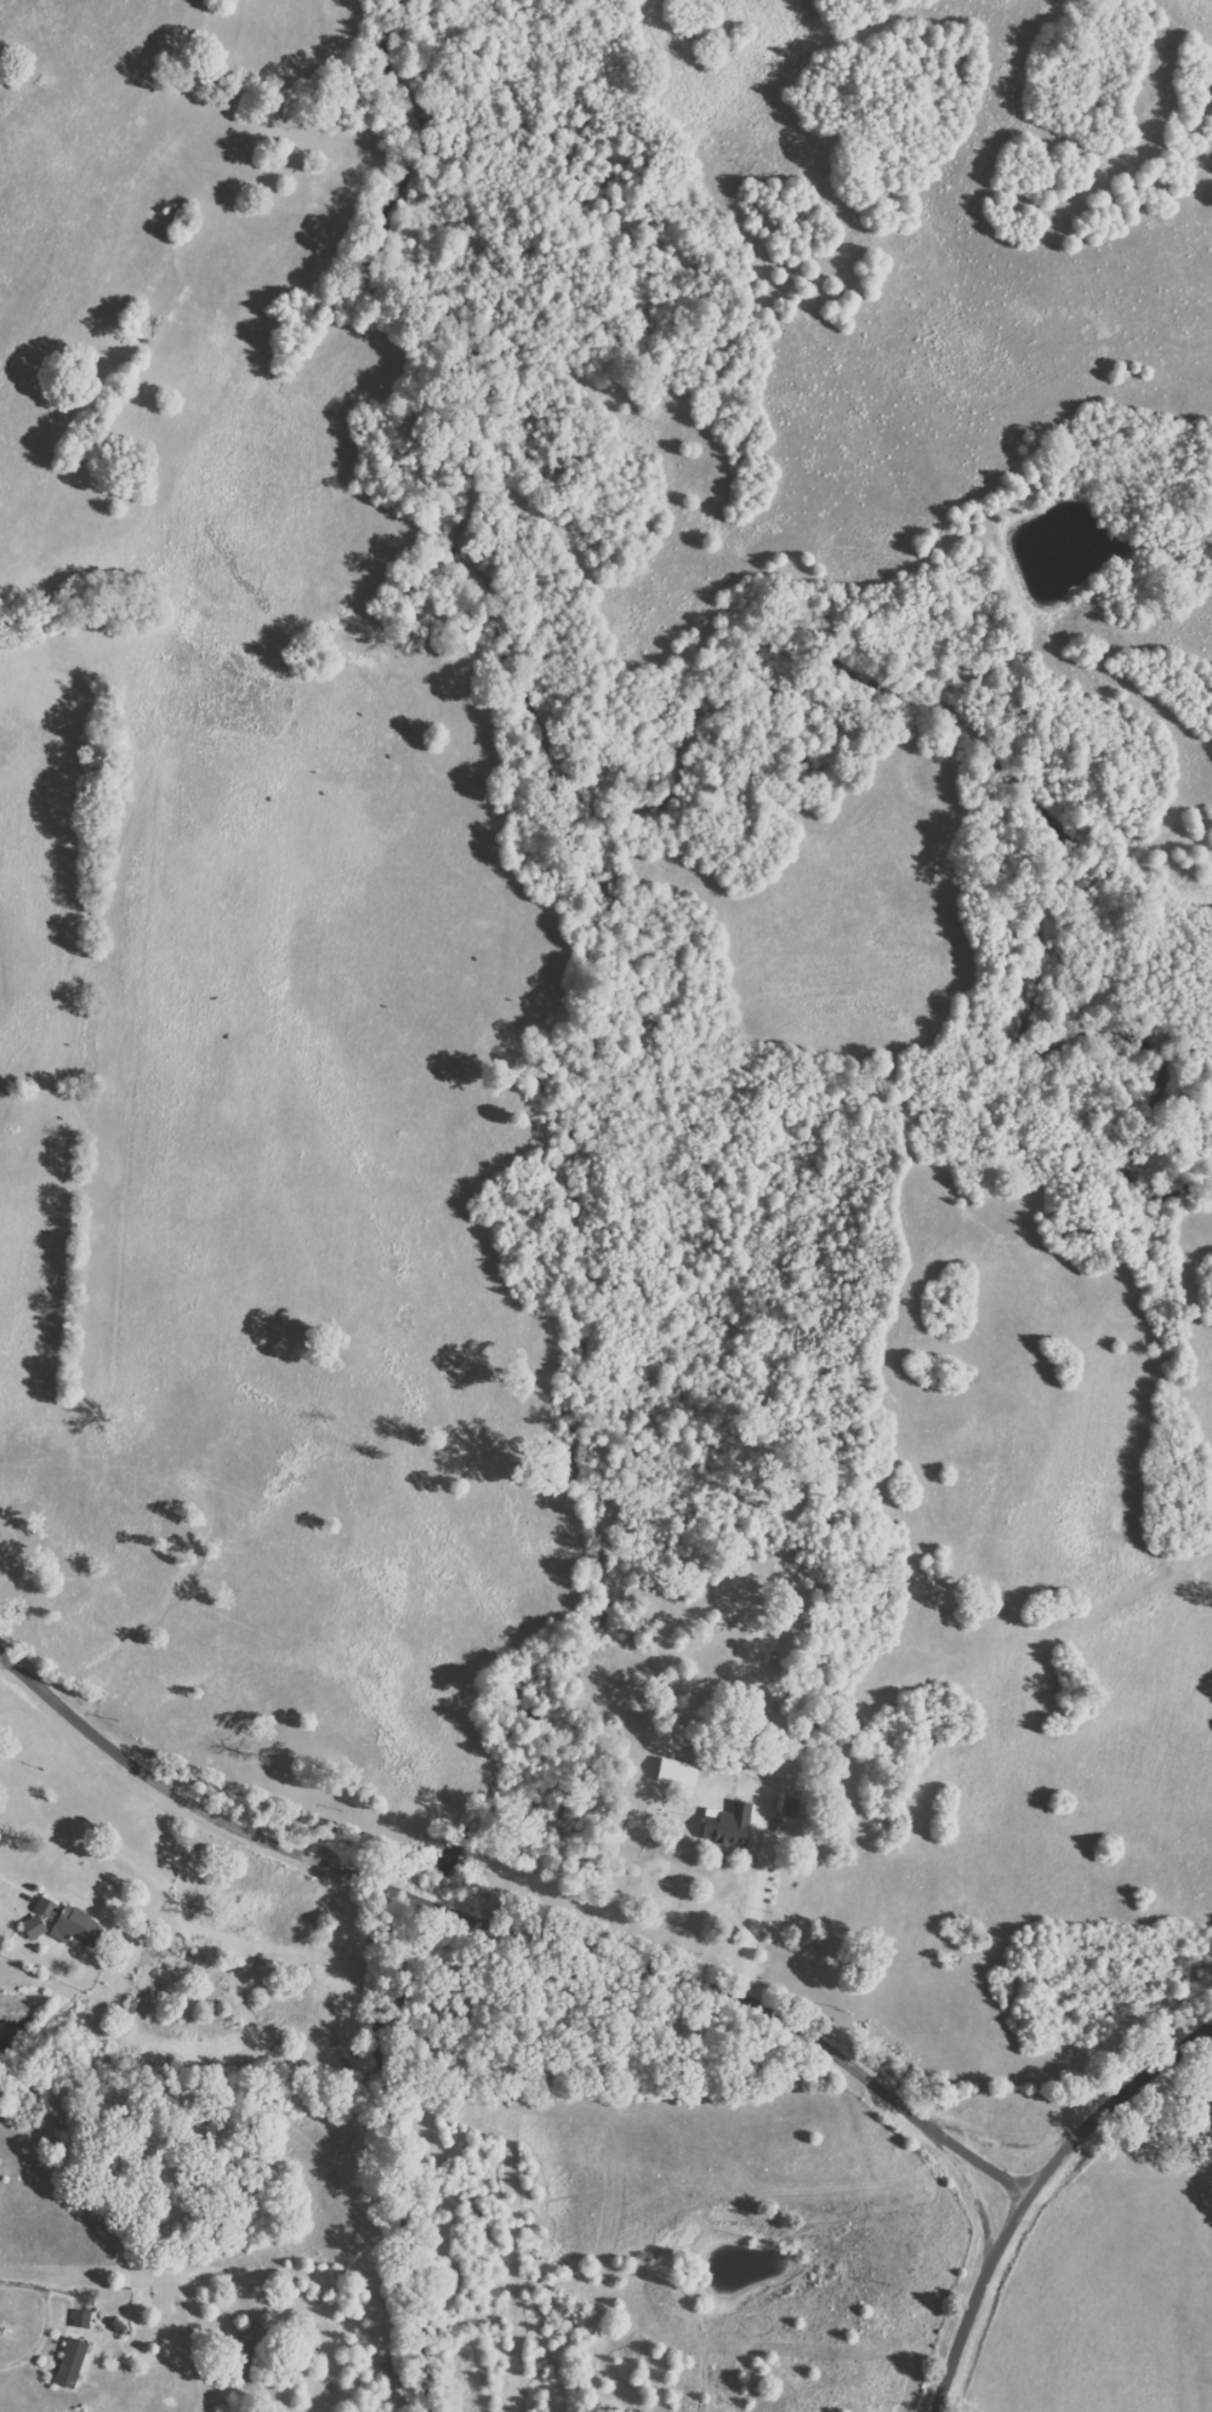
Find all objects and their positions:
building: (679, 1771)
building: (730, 1824)
road: (12, 1889)
building: (49, 1907)
road: (510, 1922)
building: (35, 1925)
building: (78, 1925)
road: (751, 1929)
road: (1117, 2120)
road: (42, 2286)
road: (975, 2297)
building: (82, 2319)
building: (72, 2361)

